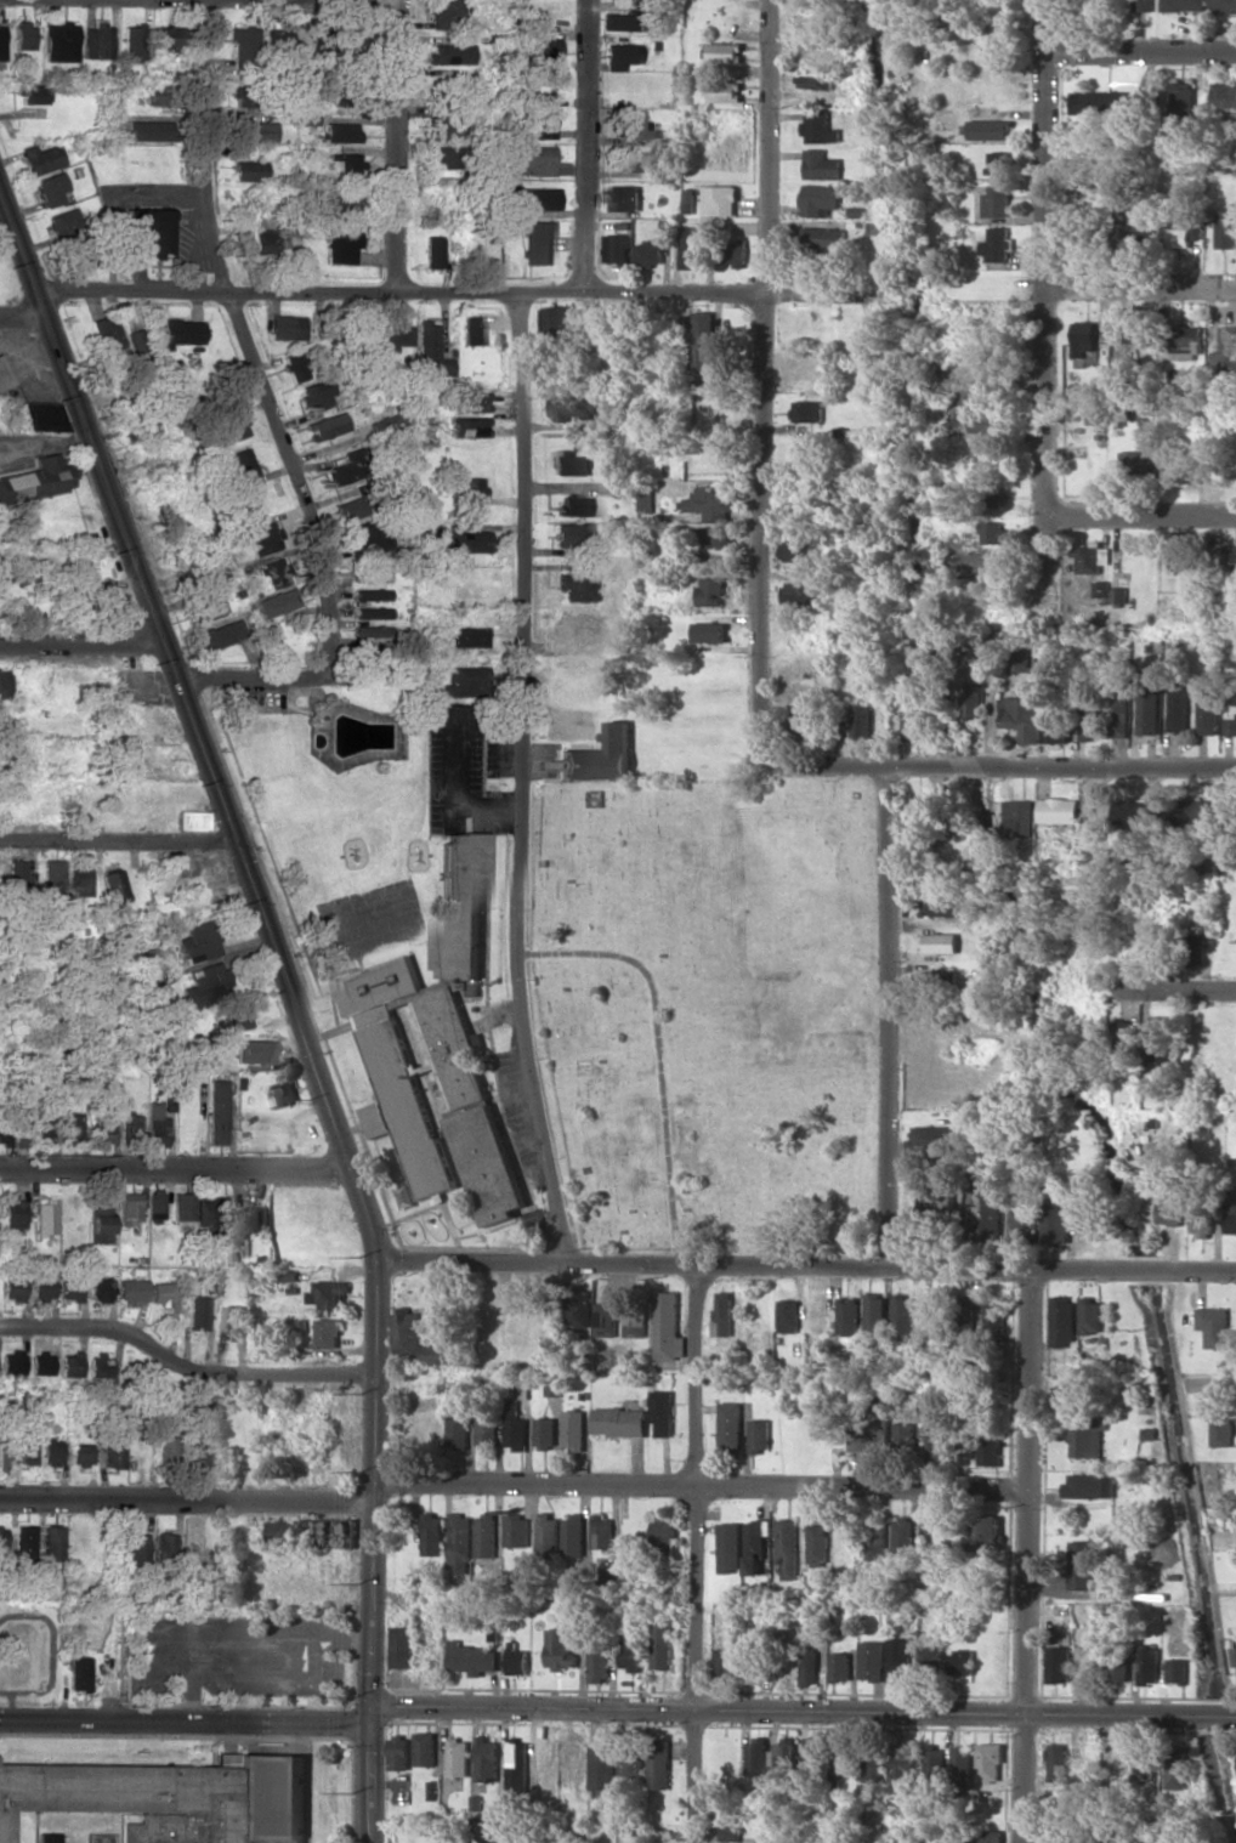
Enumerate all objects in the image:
building: (1144, 5)
building: (1223, 6)
building: (446, 13)
building: (617, 21)
building: (23, 34)
building: (166, 38)
building: (98, 40)
building: (350, 40)
building: (1, 41)
building: (61, 41)
building: (134, 42)
building: (243, 42)
building: (548, 47)
road: (1143, 49)
building: (725, 52)
building: (448, 53)
building: (620, 55)
building: (817, 81)
building: (725, 91)
building: (33, 93)
building: (157, 95)
building: (1223, 95)
building: (347, 97)
building: (245, 98)
building: (1183, 100)
building: (1102, 102)
building: (447, 121)
building: (542, 123)
building: (631, 125)
building: (820, 127)
building: (990, 129)
building: (148, 130)
building: (254, 130)
building: (339, 131)
road: (590, 144)
road: (396, 146)
building: (442, 157)
building: (41, 158)
building: (533, 159)
building: (637, 161)
building: (1000, 161)
building: (345, 165)
building: (822, 165)
building: (249, 170)
building: (51, 188)
building: (342, 198)
building: (537, 198)
building: (624, 198)
building: (822, 199)
building: (719, 200)
building: (998, 200)
building: (1090, 202)
building: (62, 222)
building: (152, 228)
building: (1226, 228)
building: (1197, 231)
building: (824, 237)
building: (1139, 237)
building: (1178, 237)
building: (265, 242)
building: (538, 242)
building: (340, 244)
building: (998, 244)
building: (692, 246)
building: (618, 248)
building: (432, 251)
building: (650, 253)
road: (1143, 284)
road: (1013, 287)
road: (453, 294)
road: (1049, 299)
road: (18, 317)
building: (560, 317)
building: (285, 327)
building: (471, 329)
building: (180, 331)
building: (396, 333)
road: (240, 334)
building: (1228, 336)
building: (363, 338)
building: (136, 340)
building: (704, 340)
building: (1187, 341)
building: (429, 350)
building: (293, 365)
building: (622, 375)
building: (4, 376)
road: (764, 378)
building: (316, 395)
building: (467, 402)
building: (574, 406)
building: (807, 410)
building: (42, 415)
building: (385, 421)
building: (987, 421)
building: (469, 425)
building: (324, 426)
building: (231, 427)
building: (134, 432)
building: (571, 463)
building: (1133, 465)
building: (345, 467)
building: (242, 469)
building: (1185, 471)
building: (36, 480)
building: (469, 486)
building: (711, 504)
building: (576, 505)
building: (348, 507)
road: (1143, 510)
building: (993, 532)
building: (569, 534)
building: (714, 537)
building: (260, 538)
building: (461, 539)
building: (800, 550)
building: (1092, 557)
building: (1229, 557)
building: (1179, 560)
building: (273, 567)
building: (573, 586)
building: (1105, 589)
building: (714, 590)
building: (803, 592)
building: (369, 594)
building: (206, 608)
building: (113, 612)
building: (370, 612)
building: (578, 626)
building: (710, 631)
building: (221, 634)
building: (369, 635)
building: (466, 636)
road: (76, 639)
building: (1021, 660)
road: (254, 677)
building: (461, 680)
building: (4, 685)
building: (974, 701)
building: (1149, 708)
building: (1207, 709)
building: (1178, 710)
building: (1230, 710)
building: (1118, 715)
building: (1024, 716)
building: (863, 721)
building: (1090, 722)
building: (912, 725)
building: (1059, 726)
building: (600, 758)
road: (1002, 766)
road: (516, 779)
building: (1059, 810)
building: (1134, 812)
building: (1194, 812)
building: (920, 817)
building: (1020, 817)
building: (189, 820)
road: (110, 837)
building: (16, 873)
building: (53, 878)
building: (78, 880)
building: (113, 886)
building: (940, 905)
building: (461, 909)
building: (195, 942)
building: (940, 942)
building: (941, 980)
building: (204, 986)
road: (1177, 991)
road: (285, 1010)
park: (714, 1011)
building: (234, 1015)
road: (894, 1015)
building: (1123, 1037)
building: (1162, 1038)
building: (253, 1050)
building: (280, 1094)
building: (216, 1111)
building: (380, 1119)
building: (155, 1123)
building: (69, 1125)
building: (40, 1128)
building: (100, 1128)
building: (129, 1128)
building: (4, 1129)
building: (478, 1130)
building: (932, 1138)
road: (171, 1166)
building: (127, 1207)
building: (154, 1207)
building: (988, 1209)
building: (1170, 1213)
building: (12, 1214)
building: (202, 1215)
building: (45, 1217)
building: (98, 1220)
building: (253, 1220)
building: (1056, 1220)
building: (1024, 1226)
building: (1202, 1227)
road: (806, 1263)
building: (11, 1288)
building: (40, 1288)
building: (69, 1288)
building: (98, 1288)
building: (131, 1289)
building: (160, 1293)
building: (331, 1294)
building: (583, 1308)
building: (970, 1310)
building: (878, 1311)
building: (940, 1311)
building: (197, 1312)
building: (726, 1315)
building: (792, 1315)
building: (851, 1315)
building: (997, 1315)
building: (1090, 1315)
building: (905, 1316)
building: (610, 1319)
building: (1062, 1319)
building: (234, 1321)
building: (639, 1322)
building: (1214, 1326)
building: (671, 1327)
building: (408, 1332)
building: (329, 1333)
building: (437, 1354)
building: (10, 1361)
building: (39, 1362)
building: (68, 1363)
building: (97, 1365)
road: (183, 1366)
building: (131, 1370)
building: (556, 1385)
building: (883, 1403)
building: (665, 1412)
building: (623, 1422)
building: (733, 1424)
building: (517, 1425)
building: (577, 1429)
building: (489, 1431)
building: (460, 1433)
building: (548, 1433)
building: (907, 1433)
building: (1223, 1433)
building: (764, 1435)
building: (883, 1435)
building: (937, 1440)
building: (1087, 1440)
building: (165, 1447)
building: (988, 1447)
building: (23, 1448)
building: (1, 1451)
building: (49, 1451)
building: (112, 1452)
building: (195, 1452)
building: (78, 1453)
building: (1090, 1486)
road: (514, 1487)
building: (520, 1530)
building: (331, 1531)
building: (605, 1531)
building: (667, 1531)
building: (284, 1532)
building: (550, 1532)
building: (988, 1532)
building: (433, 1533)
building: (487, 1535)
building: (576, 1535)
building: (905, 1536)
building: (461, 1537)
building: (878, 1539)
building: (1, 1542)
building: (22, 1542)
building: (50, 1542)
building: (821, 1543)
building: (163, 1546)
building: (732, 1546)
building: (758, 1546)
building: (135, 1547)
building: (790, 1547)
road: (703, 1553)
road: (1027, 1555)
building: (1082, 1565)
building: (664, 1645)
building: (402, 1646)
building: (561, 1649)
building: (631, 1650)
road: (50, 1652)
building: (934, 1655)
building: (474, 1658)
building: (875, 1660)
building: (902, 1660)
building: (1087, 1660)
building: (1119, 1660)
building: (518, 1661)
building: (965, 1662)
building: (601, 1663)
building: (1060, 1663)
building: (726, 1665)
building: (1149, 1665)
building: (812, 1666)
building: (844, 1666)
building: (755, 1671)
building: (1178, 1671)
building: (76, 1673)
road: (618, 1709)
traffic signals: (370, 1714)
building: (426, 1748)
building: (1200, 1748)
building: (401, 1752)
building: (813, 1753)
building: (786, 1754)
building: (459, 1757)
building: (574, 1757)
building: (759, 1758)
building: (487, 1759)
building: (546, 1760)
building: (841, 1760)
building: (877, 1762)
building: (936, 1762)
building: (991, 1762)
building: (1059, 1762)
building: (660, 1763)
building: (906, 1763)
building: (518, 1765)
building: (633, 1765)
building: (964, 1765)
building: (603, 1767)
building: (1144, 1768)
building: (168, 1790)
building: (731, 1833)
building: (991, 1835)
building: (46, 1837)
building: (68, 1837)

